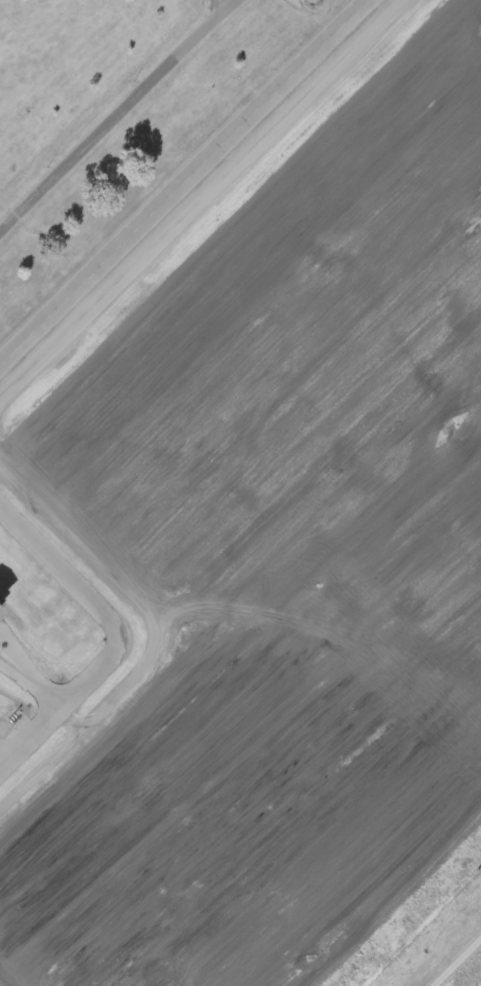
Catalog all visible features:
road: (225, 6)
road: (124, 117)
road: (195, 185)
building: (1, 465)
wastewater plant: (240, 493)
road: (266, 545)
road: (459, 964)

